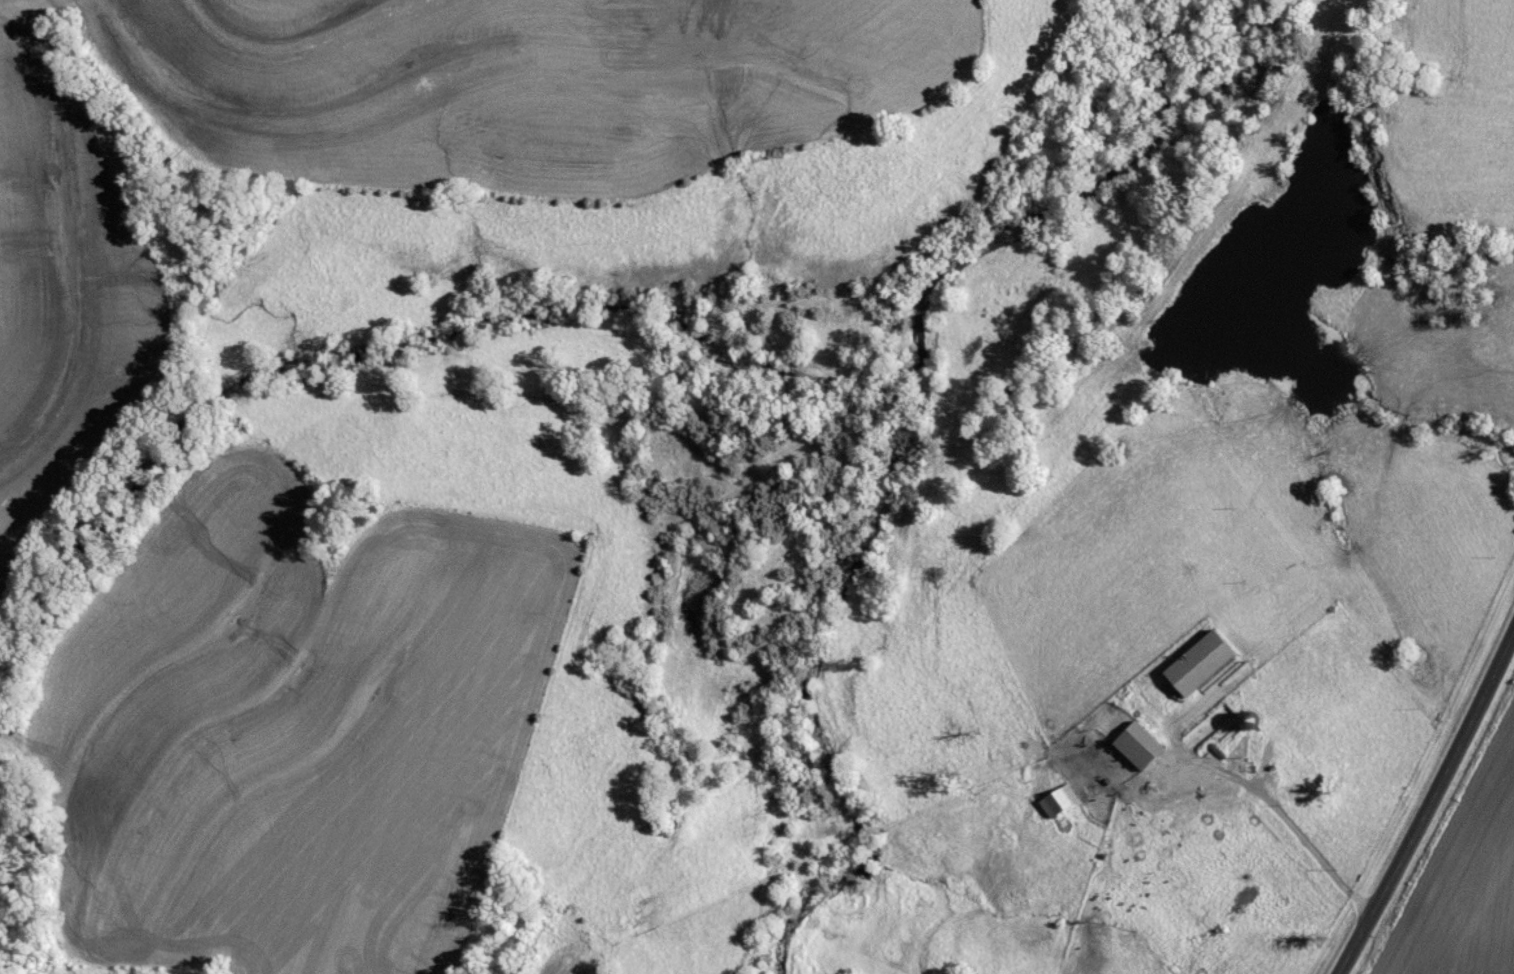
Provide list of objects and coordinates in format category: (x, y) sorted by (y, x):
building: (1139, 749)
road: (1428, 801)
road: (1267, 803)
building: (1064, 804)

